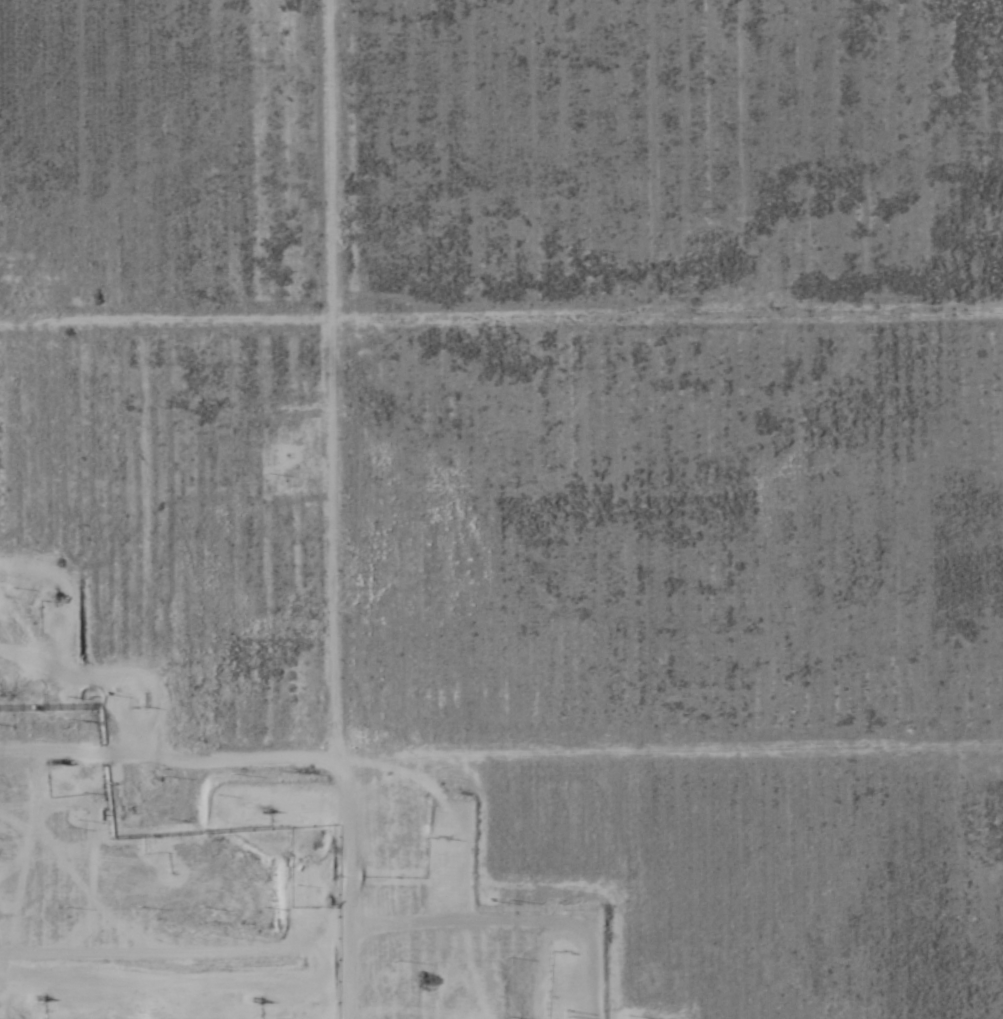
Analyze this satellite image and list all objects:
road: (361, 509)
road: (909, 982)

